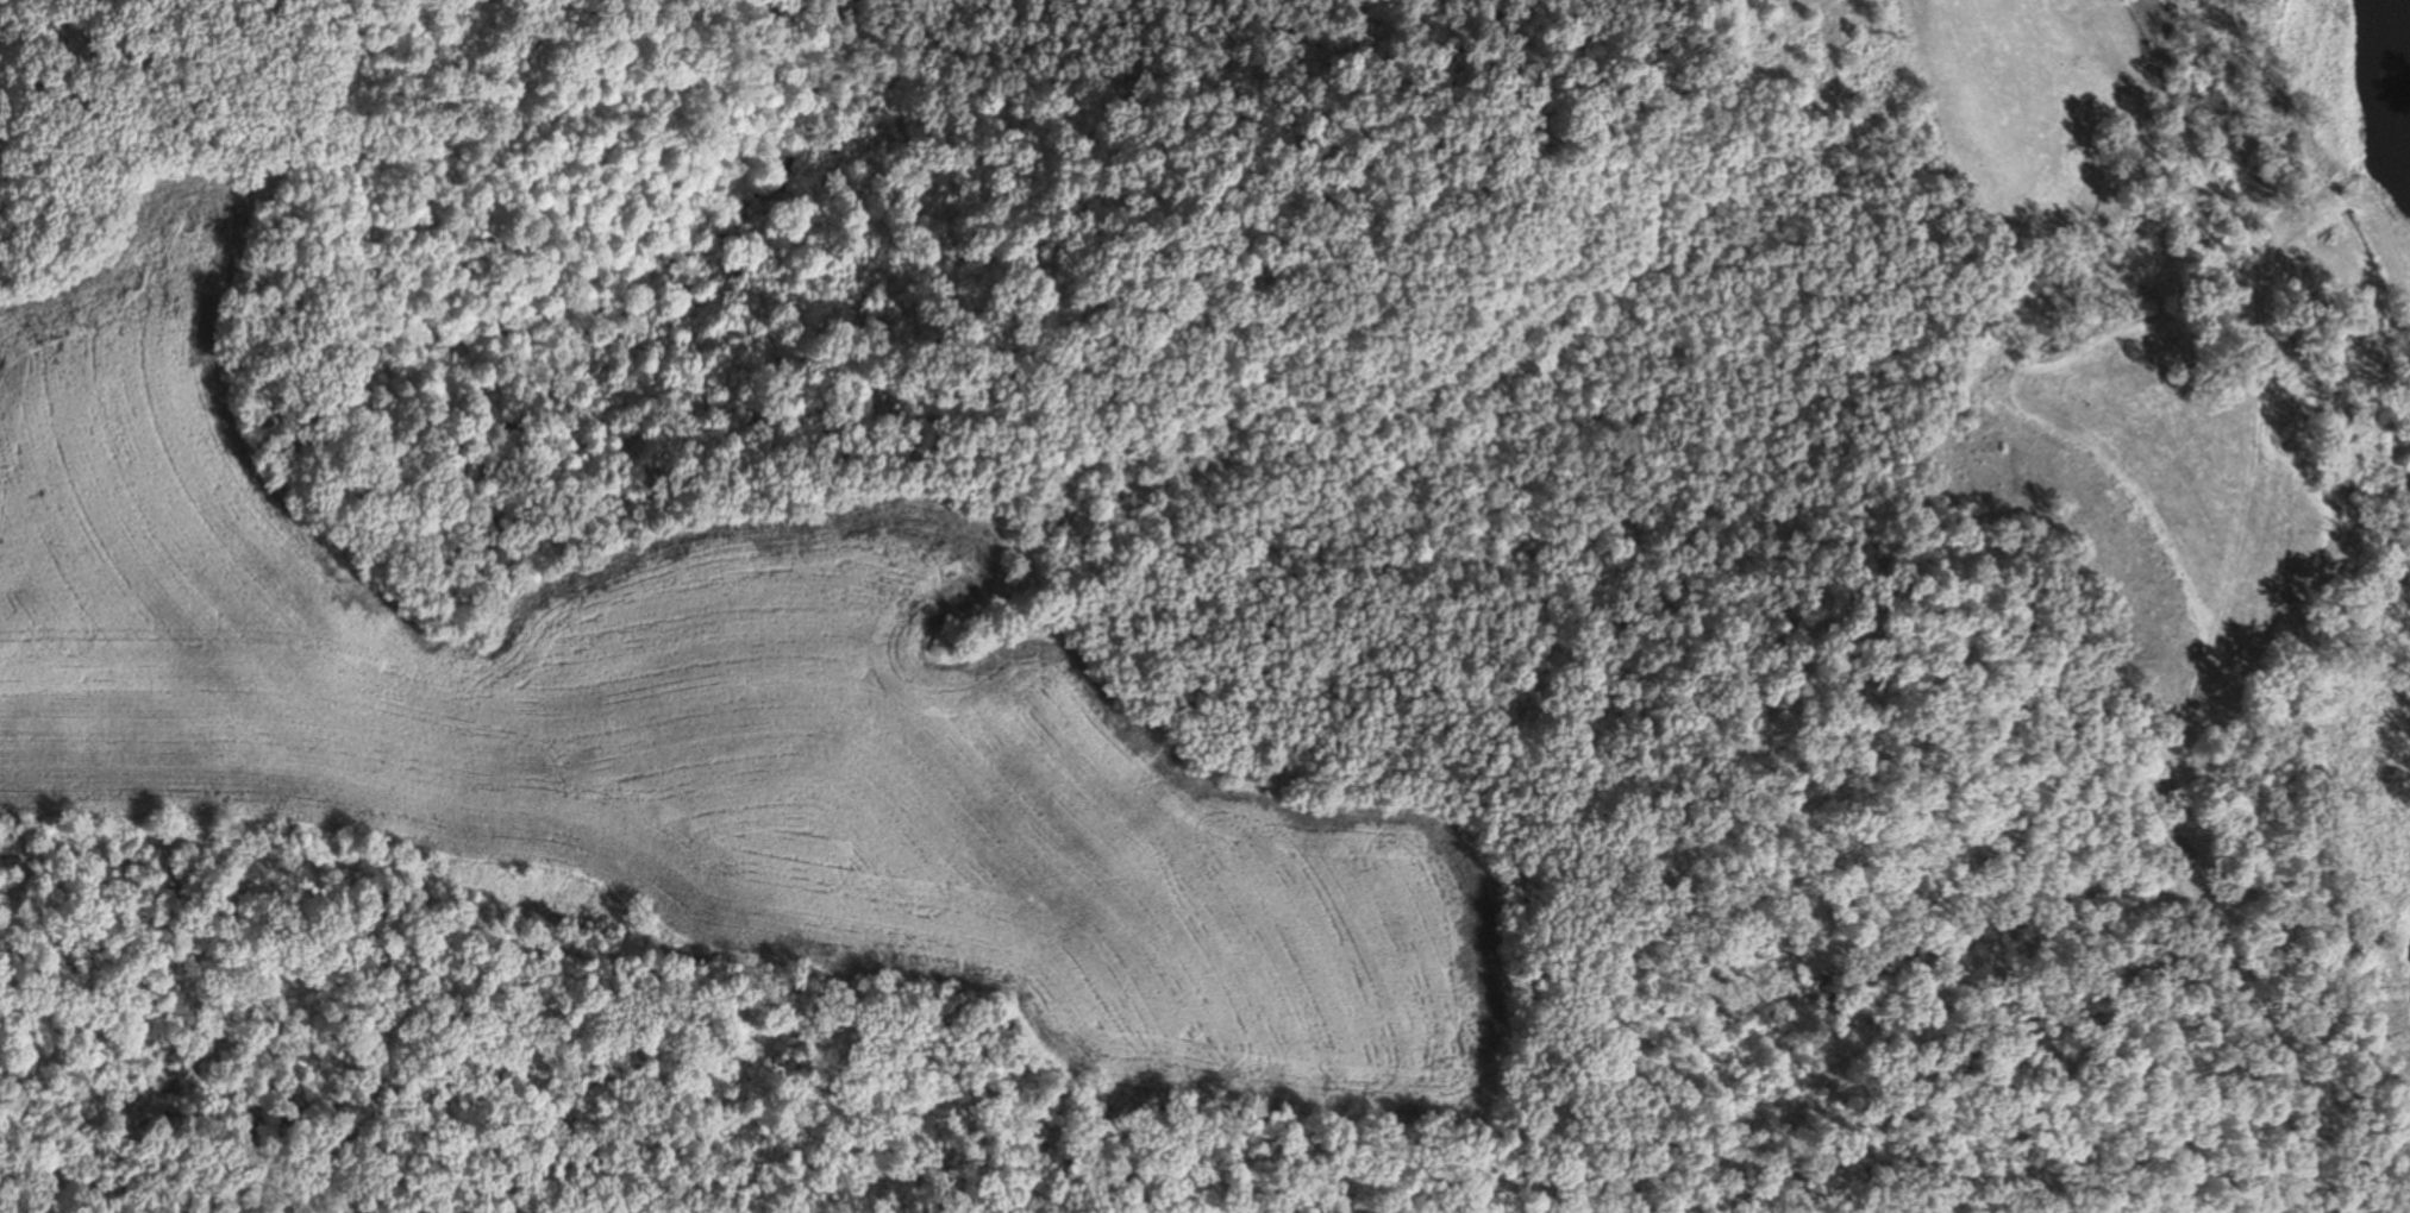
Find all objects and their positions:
river: (2377, 93)

